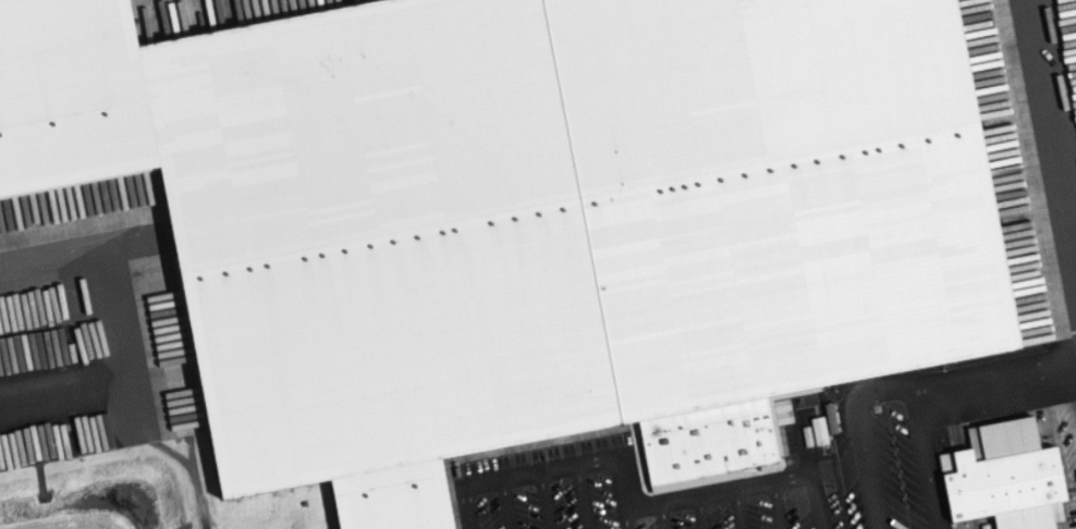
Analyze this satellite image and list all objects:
road: (1054, 131)
building: (518, 219)
road: (152, 319)
road: (898, 387)
road: (910, 458)
road: (809, 469)
building: (1000, 482)
road: (585, 496)
road: (623, 497)
road: (546, 500)
road: (509, 503)
road: (744, 509)
road: (700, 510)
road: (795, 514)
road: (627, 517)
road: (664, 521)

